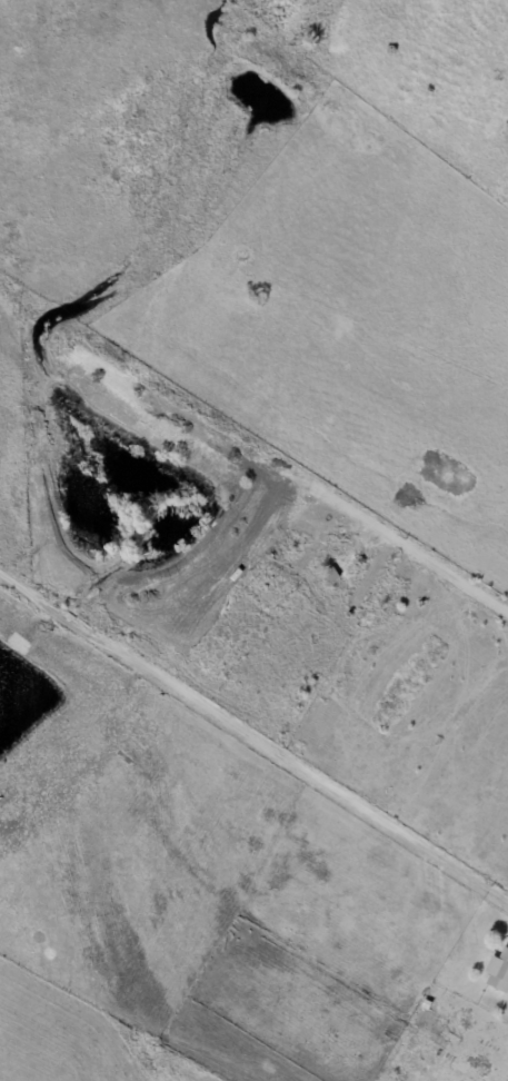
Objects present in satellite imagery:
building: (331, 574)
road: (253, 735)
building: (498, 972)
building: (426, 1004)
road: (506, 1079)

